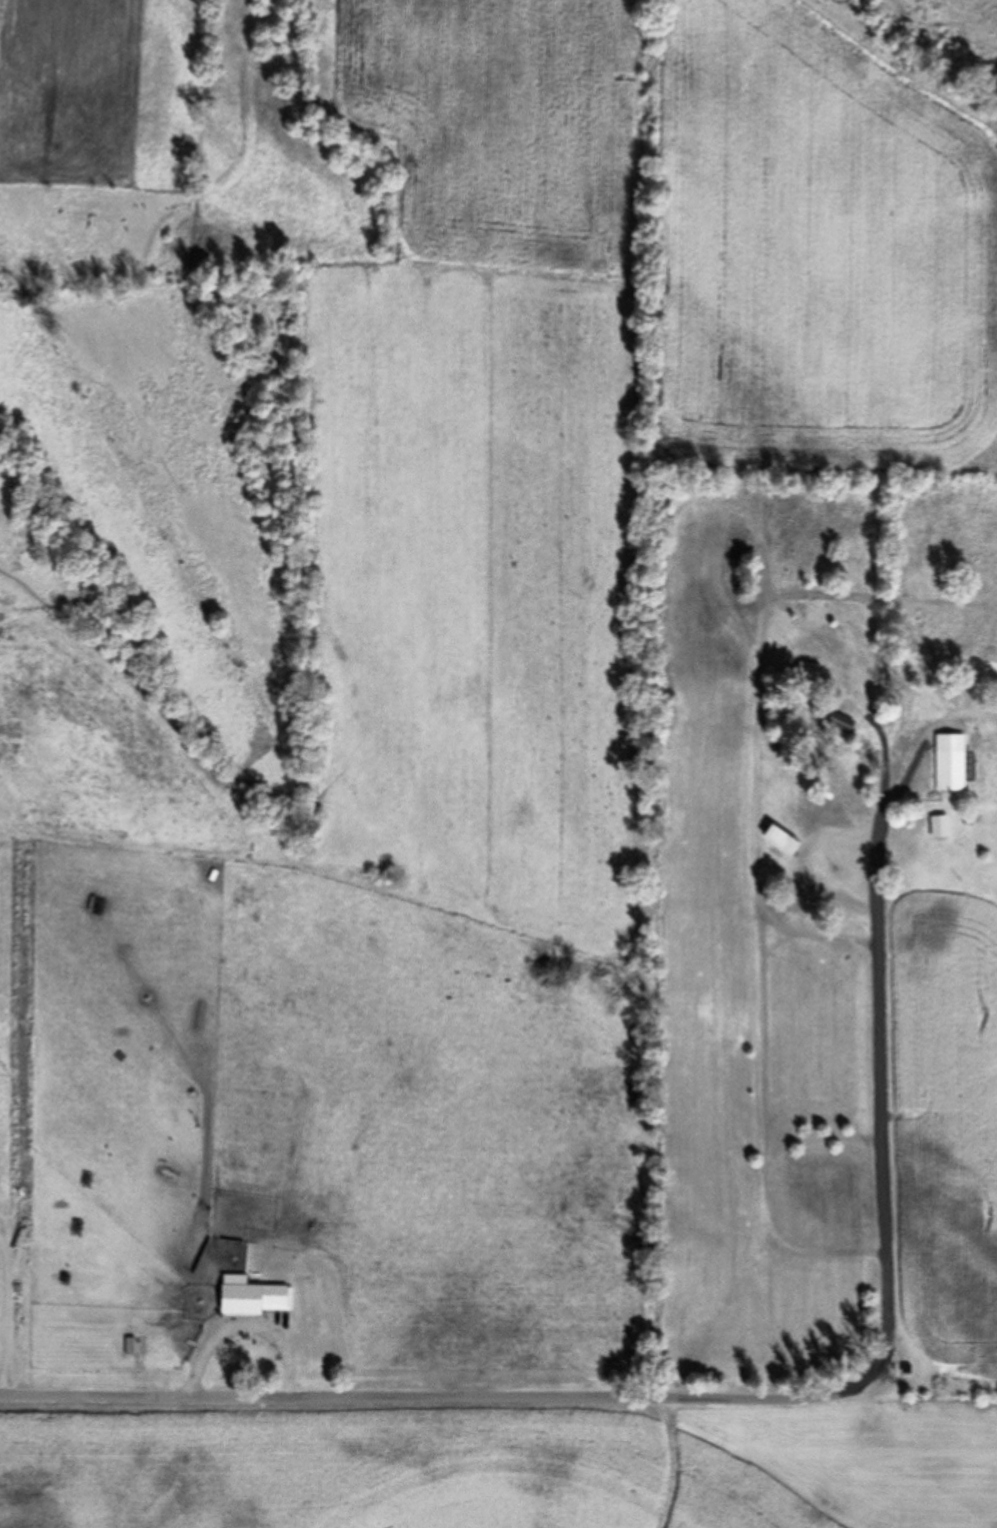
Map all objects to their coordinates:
building: (803, 671)
building: (835, 722)
building: (947, 762)
building: (934, 826)
building: (776, 839)
road: (882, 1101)
road: (441, 1397)

